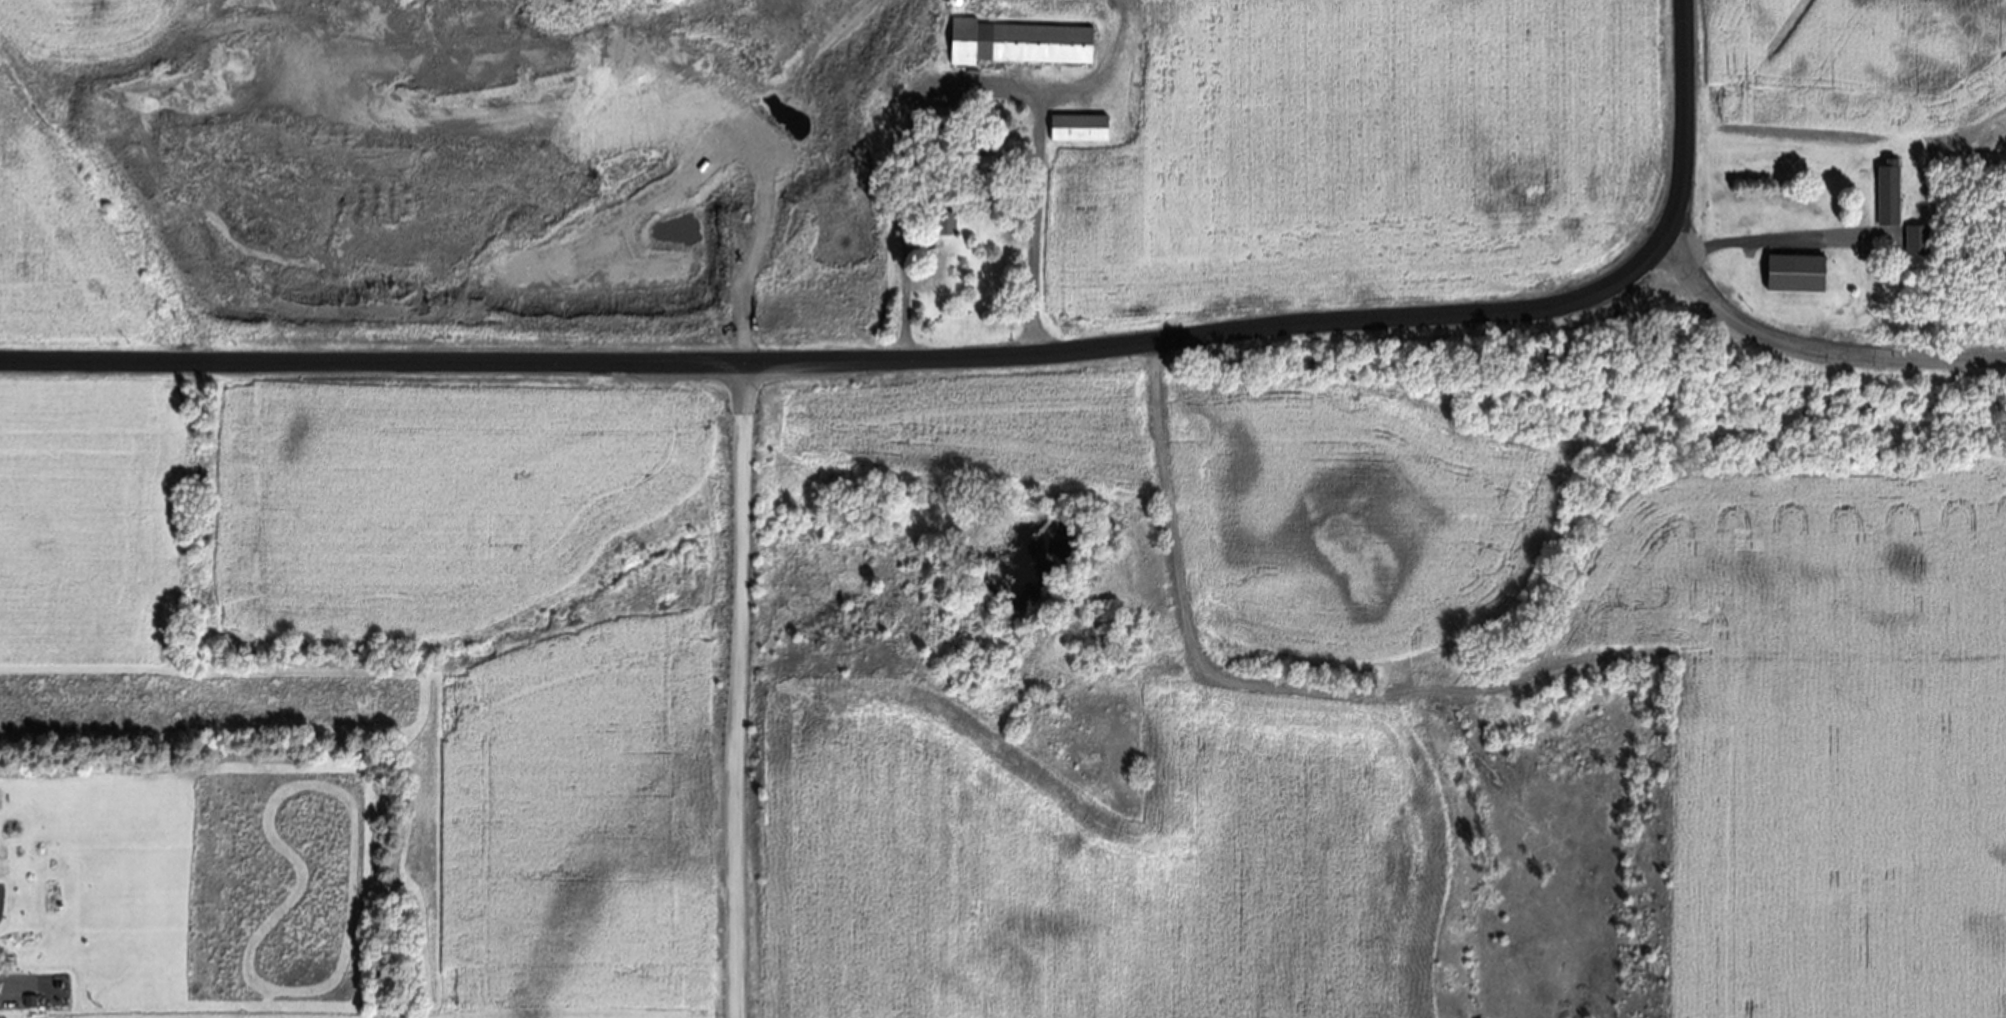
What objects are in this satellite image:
building: (894, 37)
building: (1017, 47)
building: (1077, 133)
road: (1036, 155)
road: (909, 168)
building: (985, 168)
building: (1887, 196)
building: (945, 225)
road: (1786, 245)
building: (1916, 246)
building: (1794, 278)
road: (1812, 349)
road: (966, 365)
road: (740, 545)
road: (18, 998)

